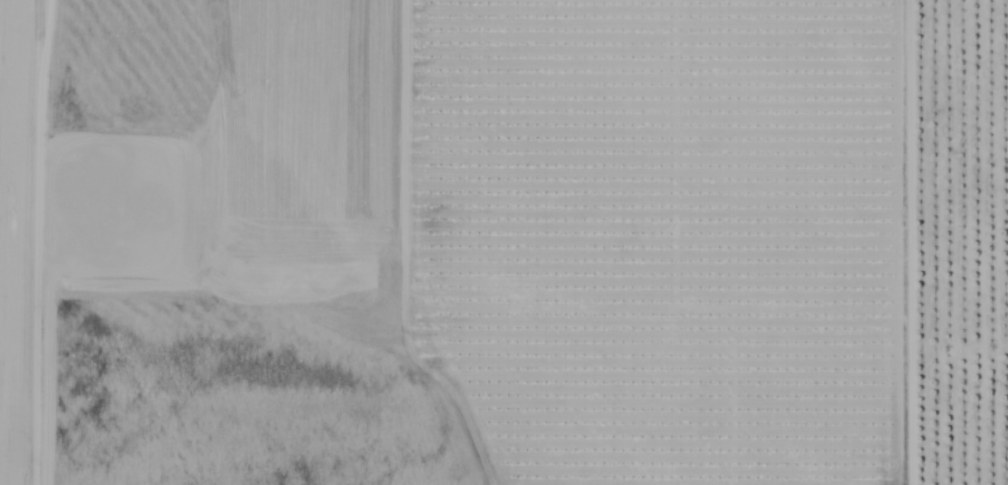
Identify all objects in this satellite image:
crop: (504, 242)

